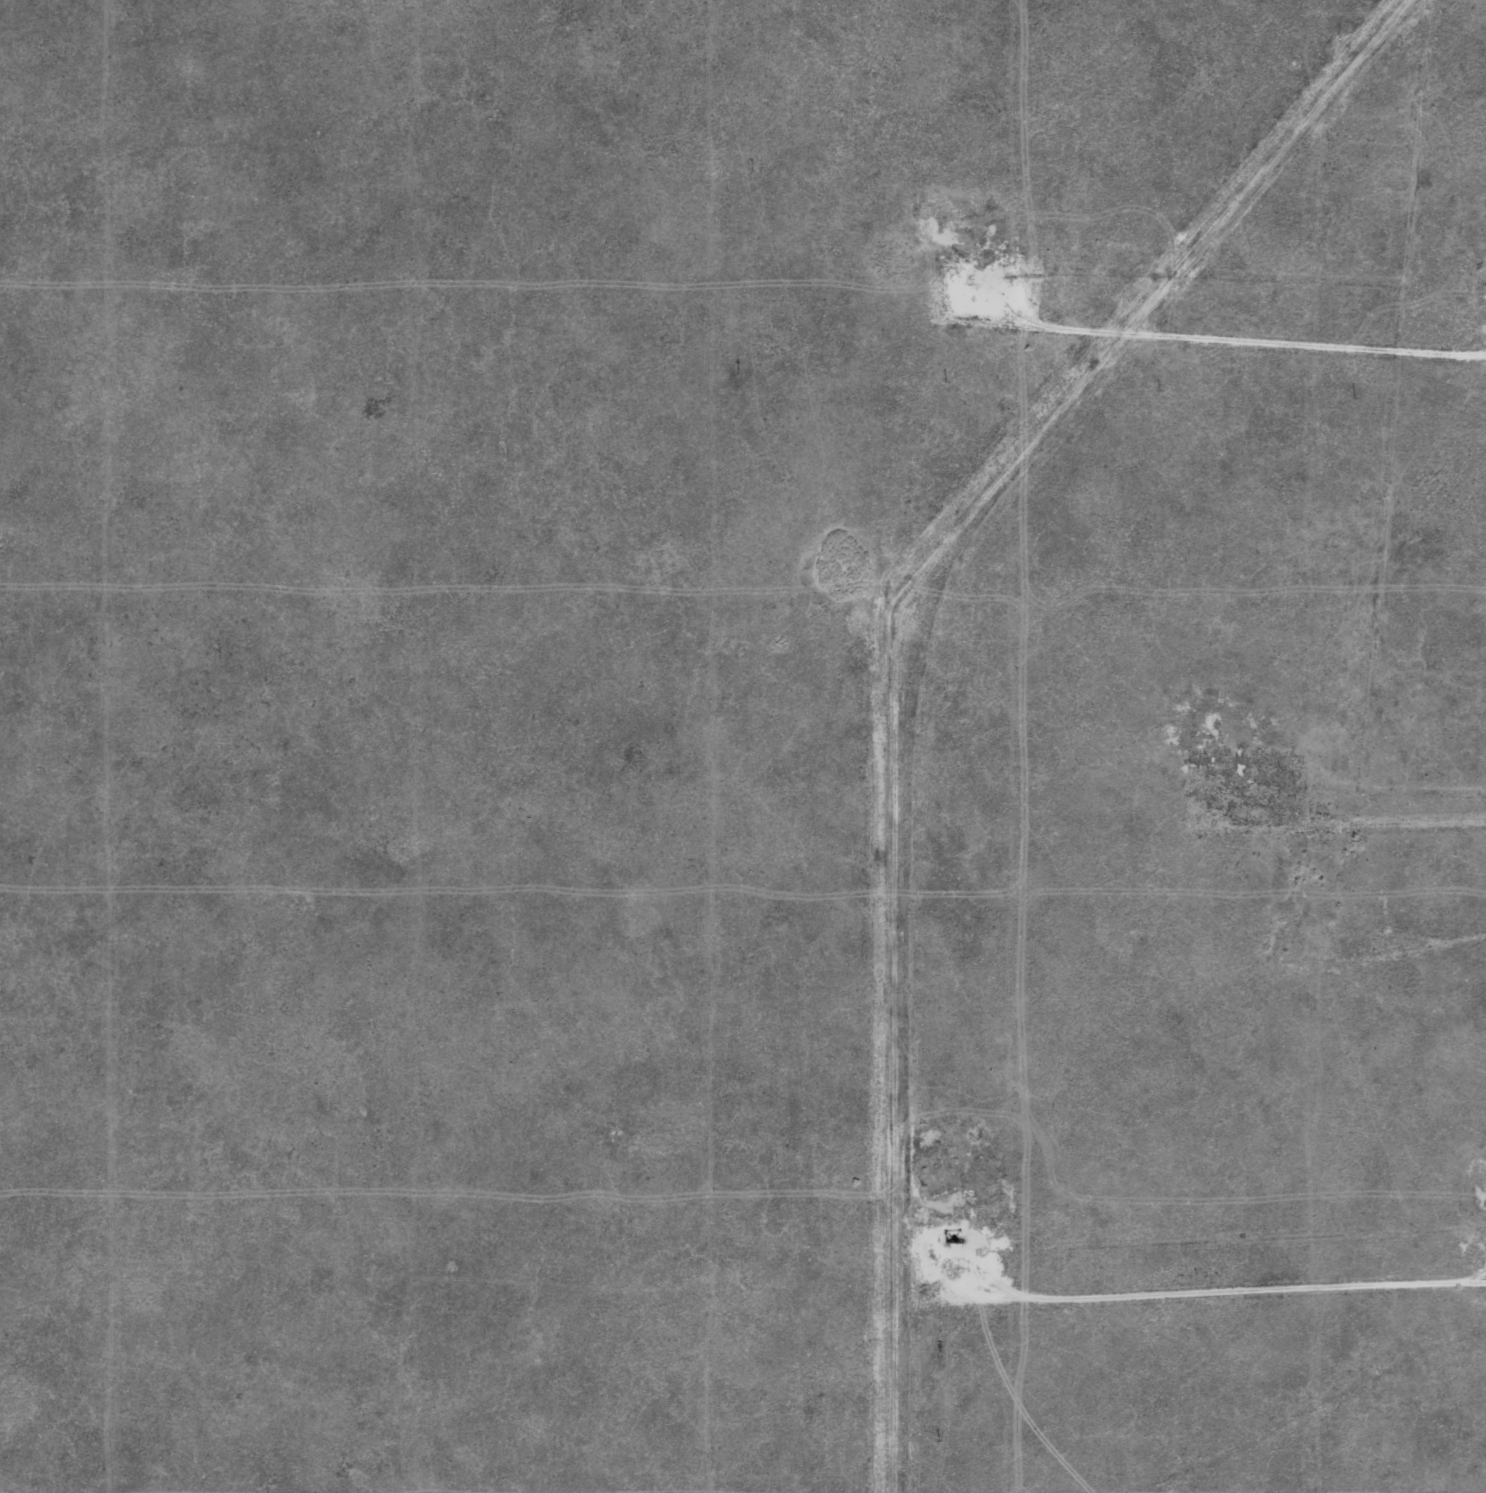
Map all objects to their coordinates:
road: (1196, 1323)

